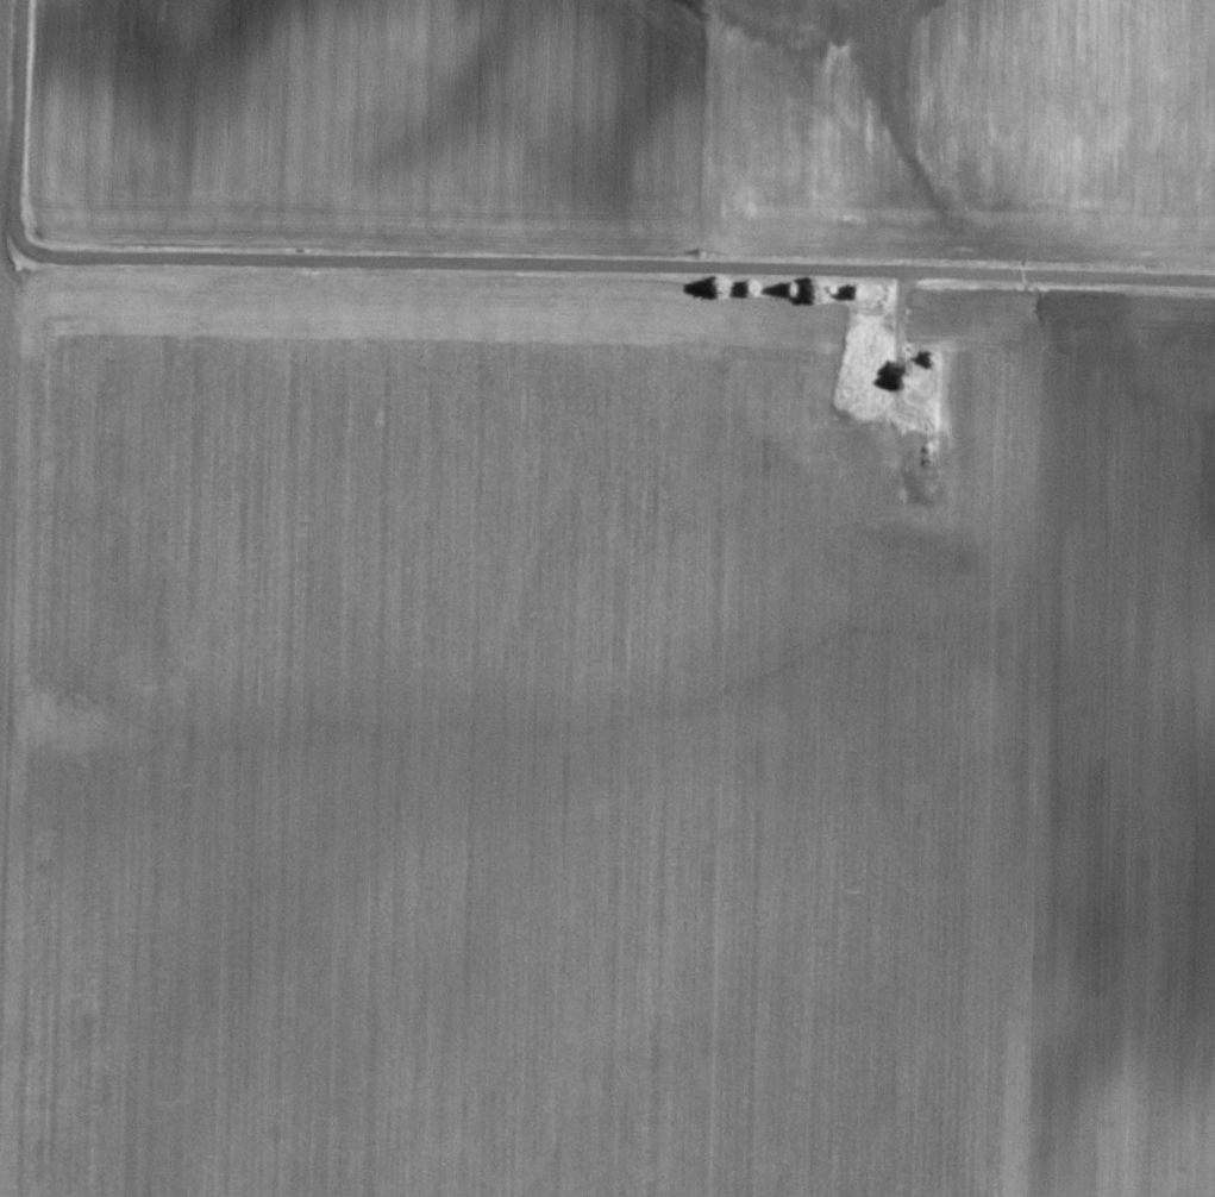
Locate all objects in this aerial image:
road: (493, 263)

